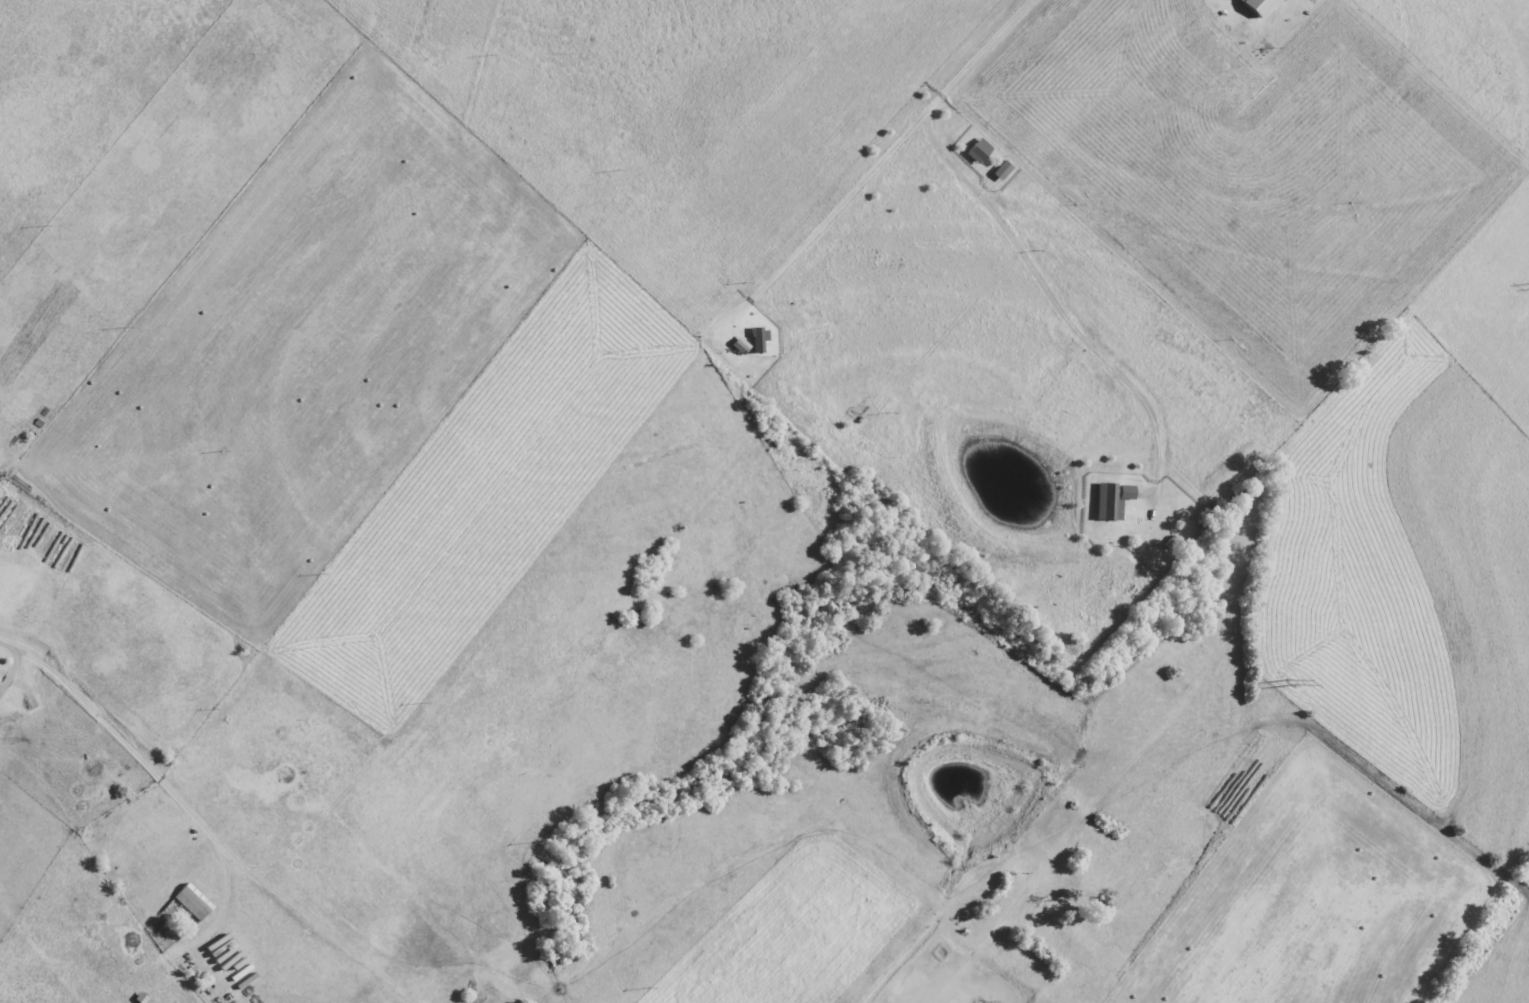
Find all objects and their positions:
building: (1261, 6)
building: (980, 151)
road: (878, 159)
building: (1004, 171)
building: (761, 340)
building: (742, 346)
building: (1128, 492)
building: (1111, 502)
power tower: (1290, 680)
road: (191, 815)
building: (195, 902)

